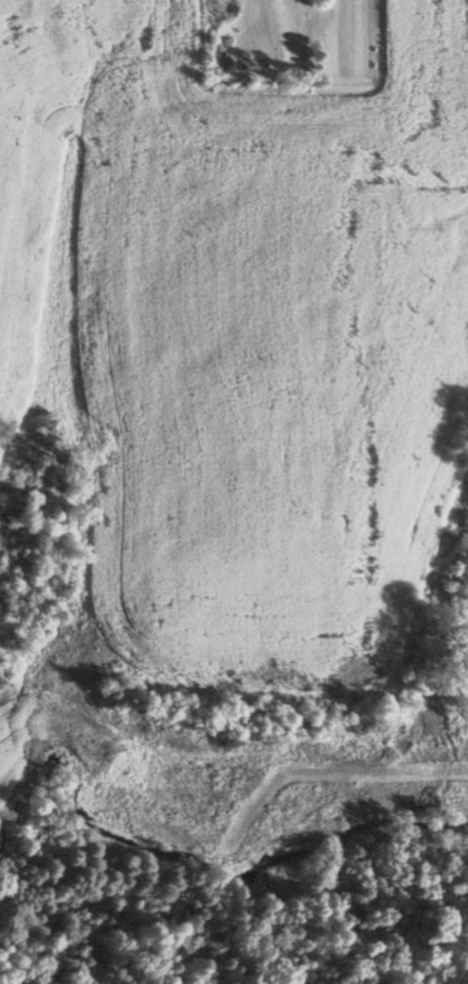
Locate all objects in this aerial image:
road: (231, 936)

